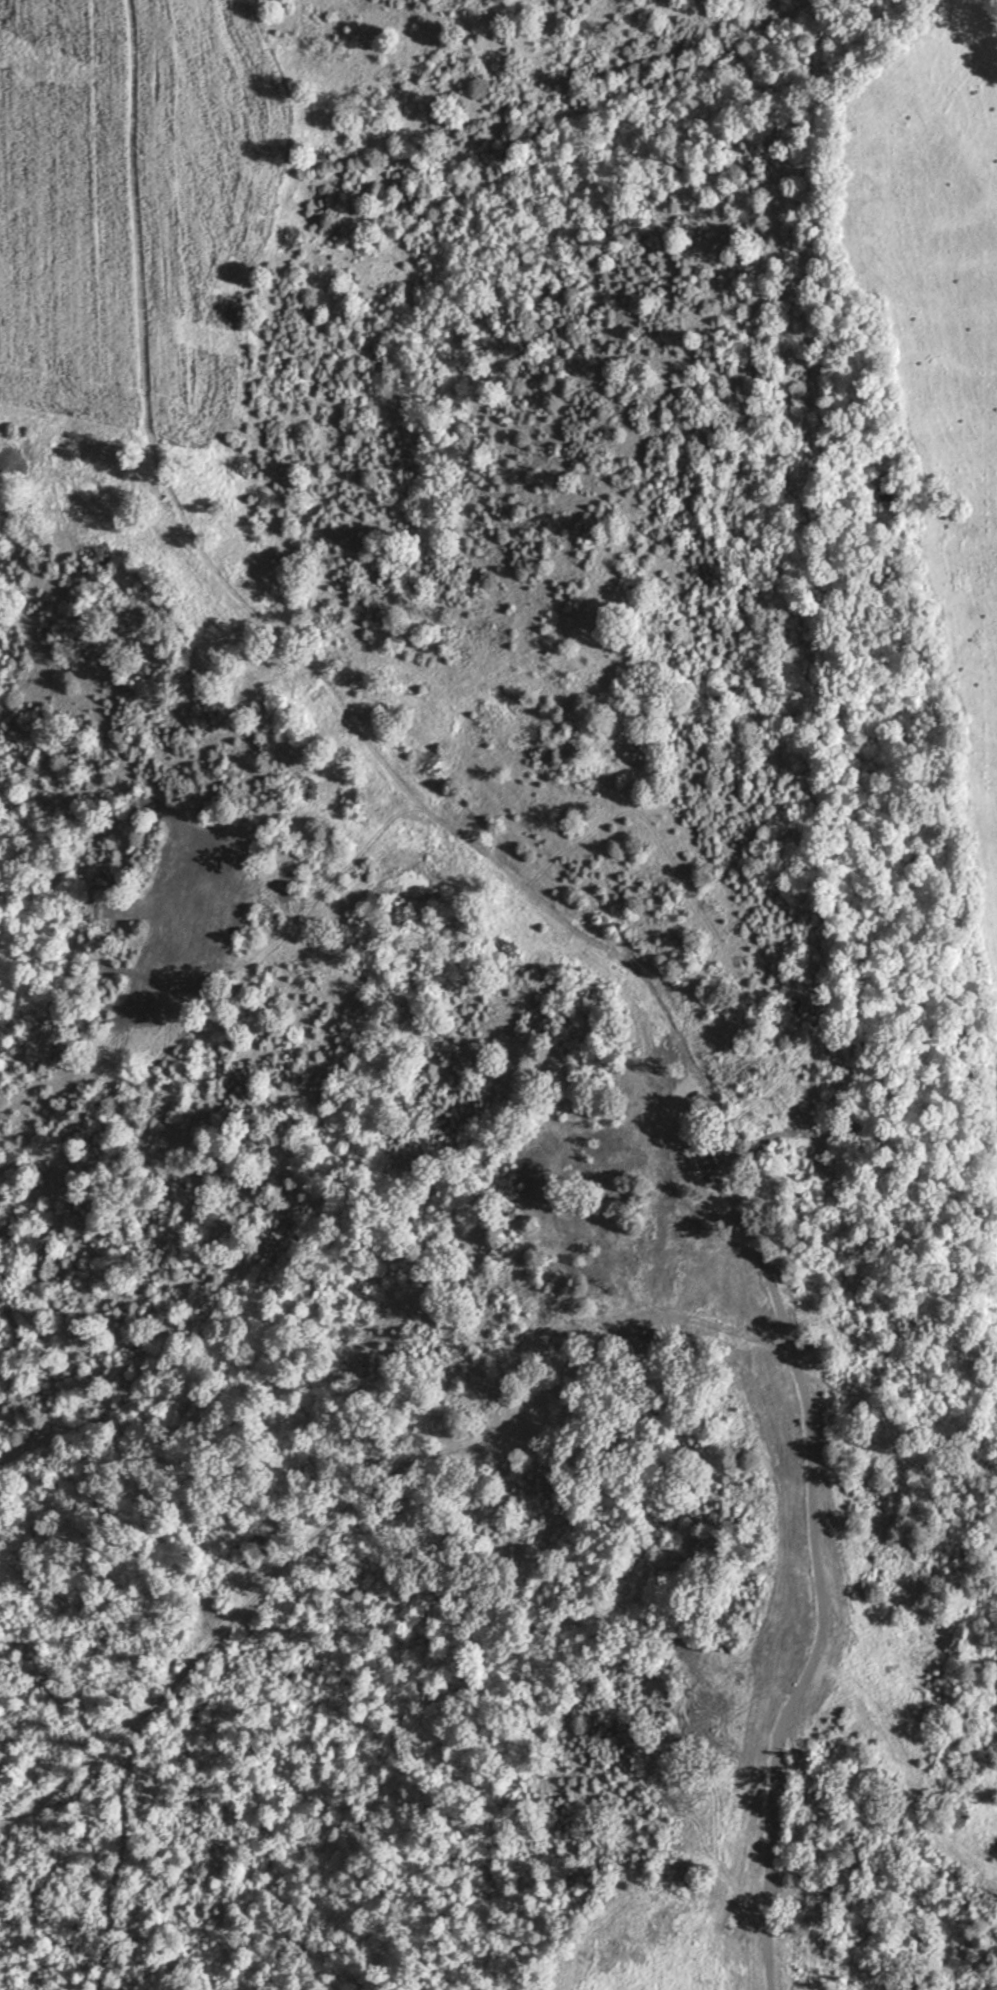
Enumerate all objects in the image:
road: (675, 1010)
building: (708, 1160)

